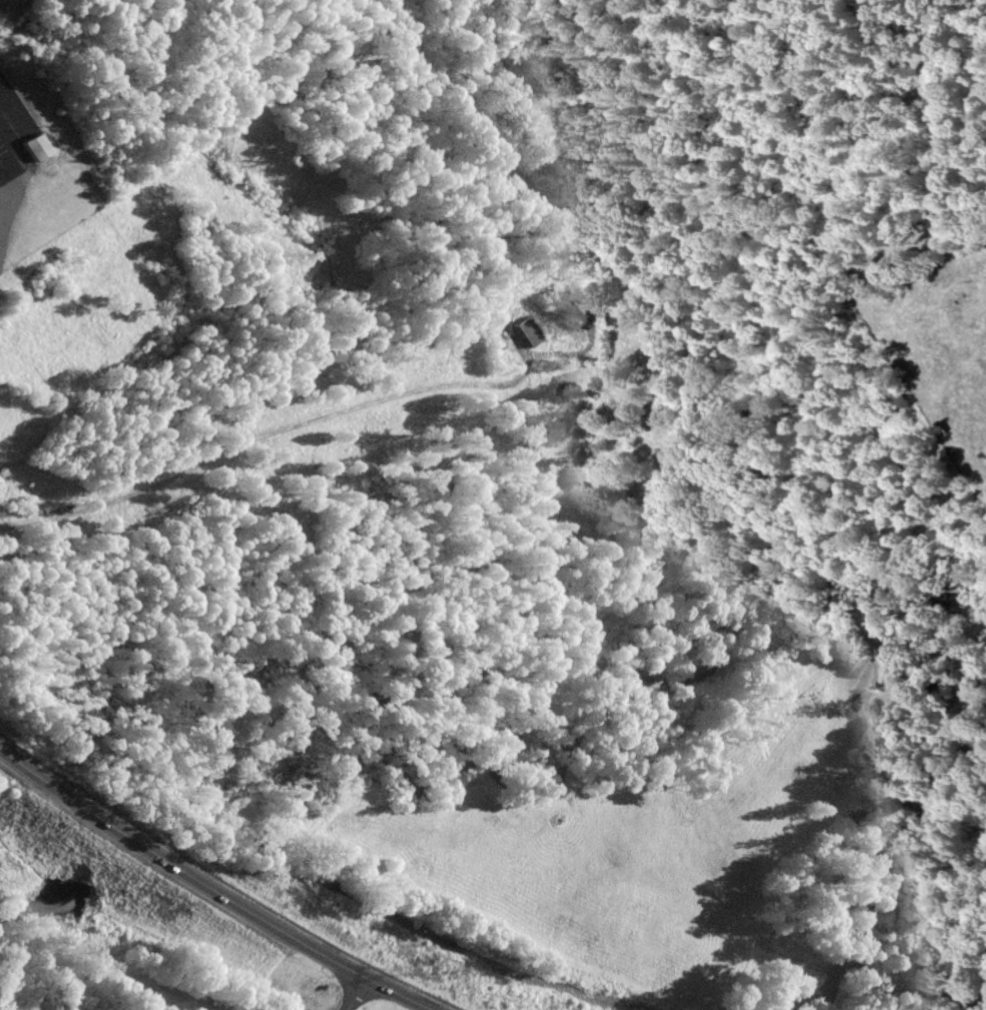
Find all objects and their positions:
road: (0, 150)
building: (30, 150)
building: (524, 334)
road: (206, 892)
power tower: (436, 969)
road: (353, 994)

